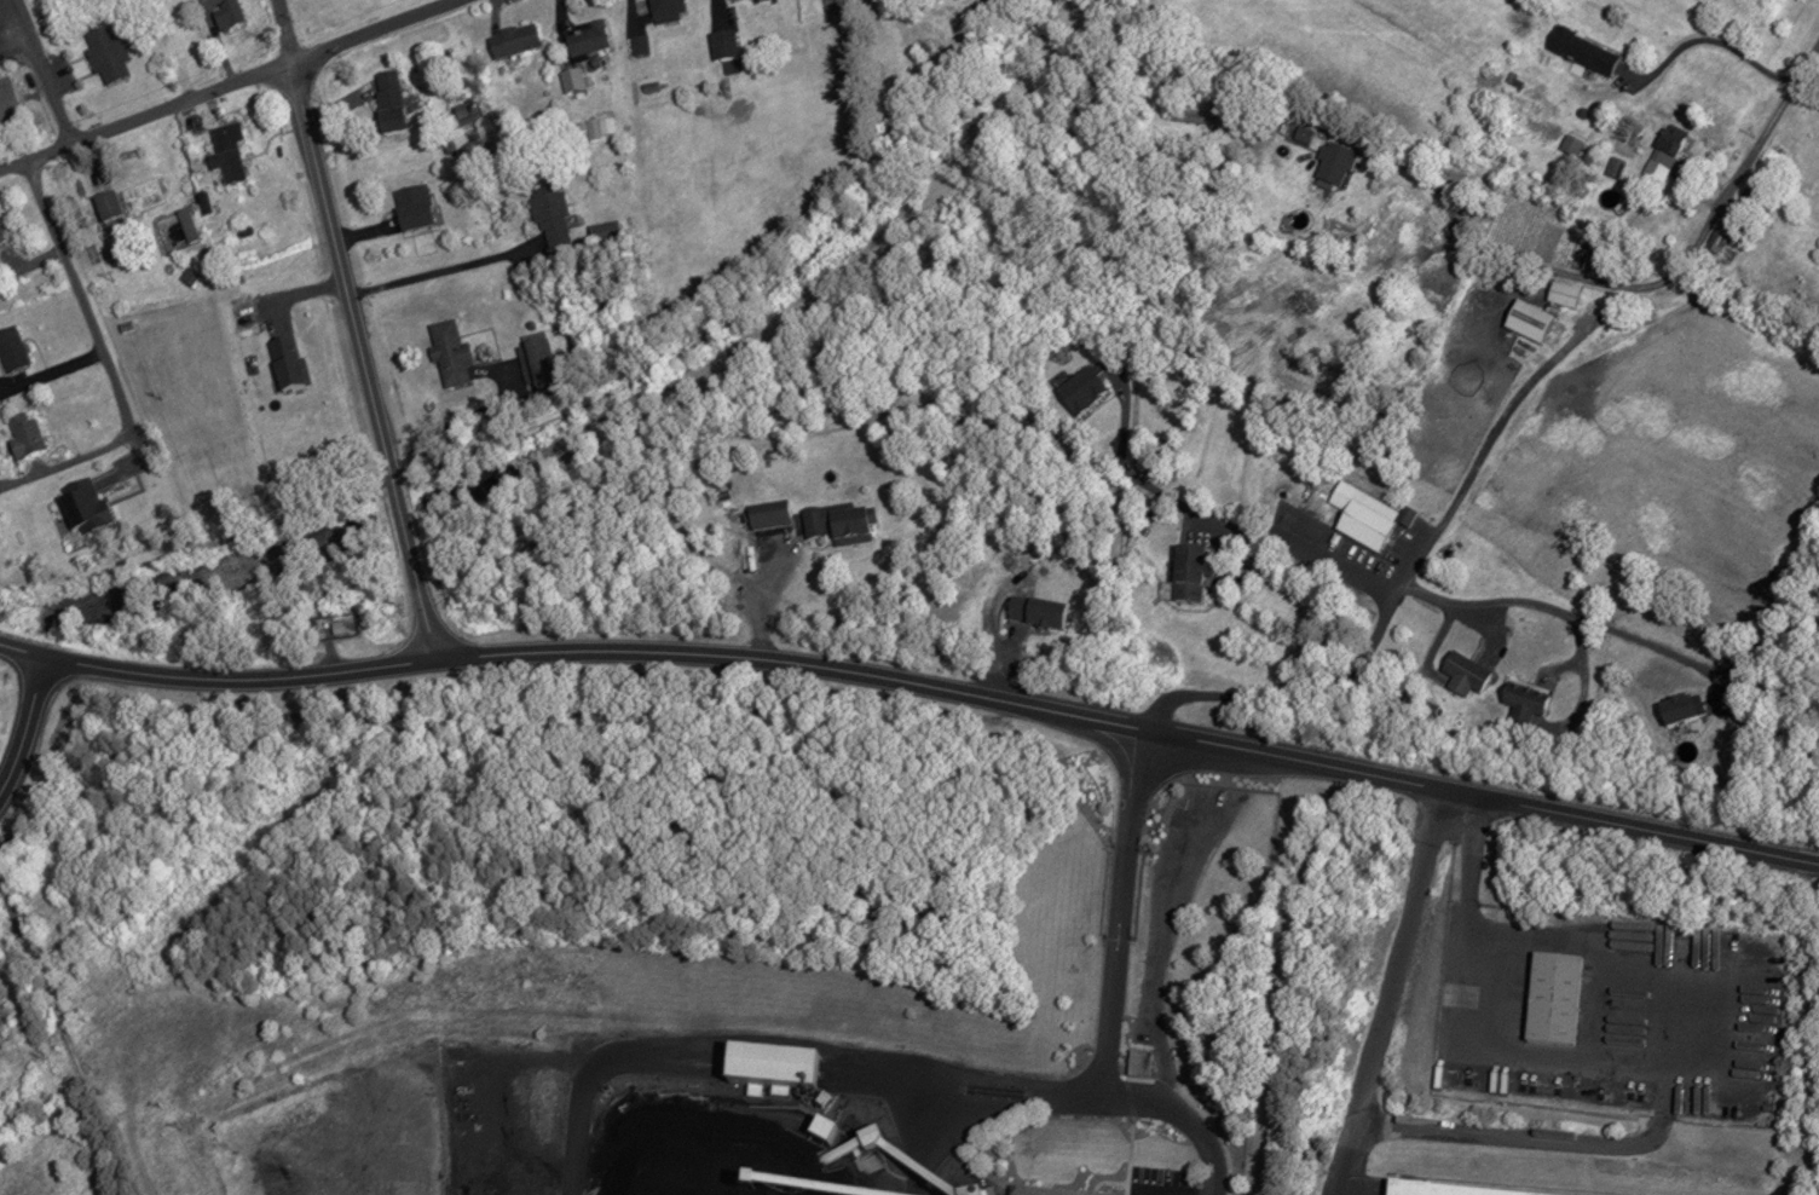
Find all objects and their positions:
building: (726, 0)
building: (664, 10)
building: (224, 15)
building: (583, 37)
building: (509, 40)
building: (637, 45)
building: (724, 45)
building: (1578, 47)
building: (105, 53)
road: (44, 71)
building: (572, 82)
road: (226, 85)
building: (386, 102)
building: (6, 105)
building: (596, 127)
building: (1298, 131)
road: (1759, 144)
building: (1661, 145)
building: (1587, 149)
building: (224, 152)
building: (1329, 157)
building: (1611, 162)
building: (1749, 194)
building: (140, 195)
building: (104, 206)
building: (409, 208)
building: (545, 210)
building: (1409, 223)
building: (1722, 237)
road: (1581, 276)
building: (1560, 293)
road: (80, 298)
building: (1528, 319)
building: (1600, 325)
road: (356, 330)
building: (8, 348)
building: (446, 350)
building: (1079, 391)
road: (589, 404)
road: (1506, 420)
building: (19, 437)
road: (1136, 473)
building: (79, 507)
building: (1361, 516)
building: (1405, 516)
building: (836, 524)
building: (1185, 575)
road: (1374, 576)
road: (1229, 578)
building: (1033, 612)
road: (1488, 616)
road: (1636, 639)
road: (1577, 646)
building: (1461, 671)
road: (914, 683)
road: (1329, 689)
building: (1524, 695)
road: (1581, 699)
building: (1673, 710)
road: (27, 724)
building: (1682, 724)
road: (1390, 991)
road: (1111, 1000)
building: (1554, 1000)
road: (1669, 1021)
road: (694, 1044)
building: (729, 1060)
building: (1134, 1064)
power plant: (680, 1085)
road: (957, 1089)
building: (1431, 1190)
building: (1036, 1193)
road: (1148, 1194)

